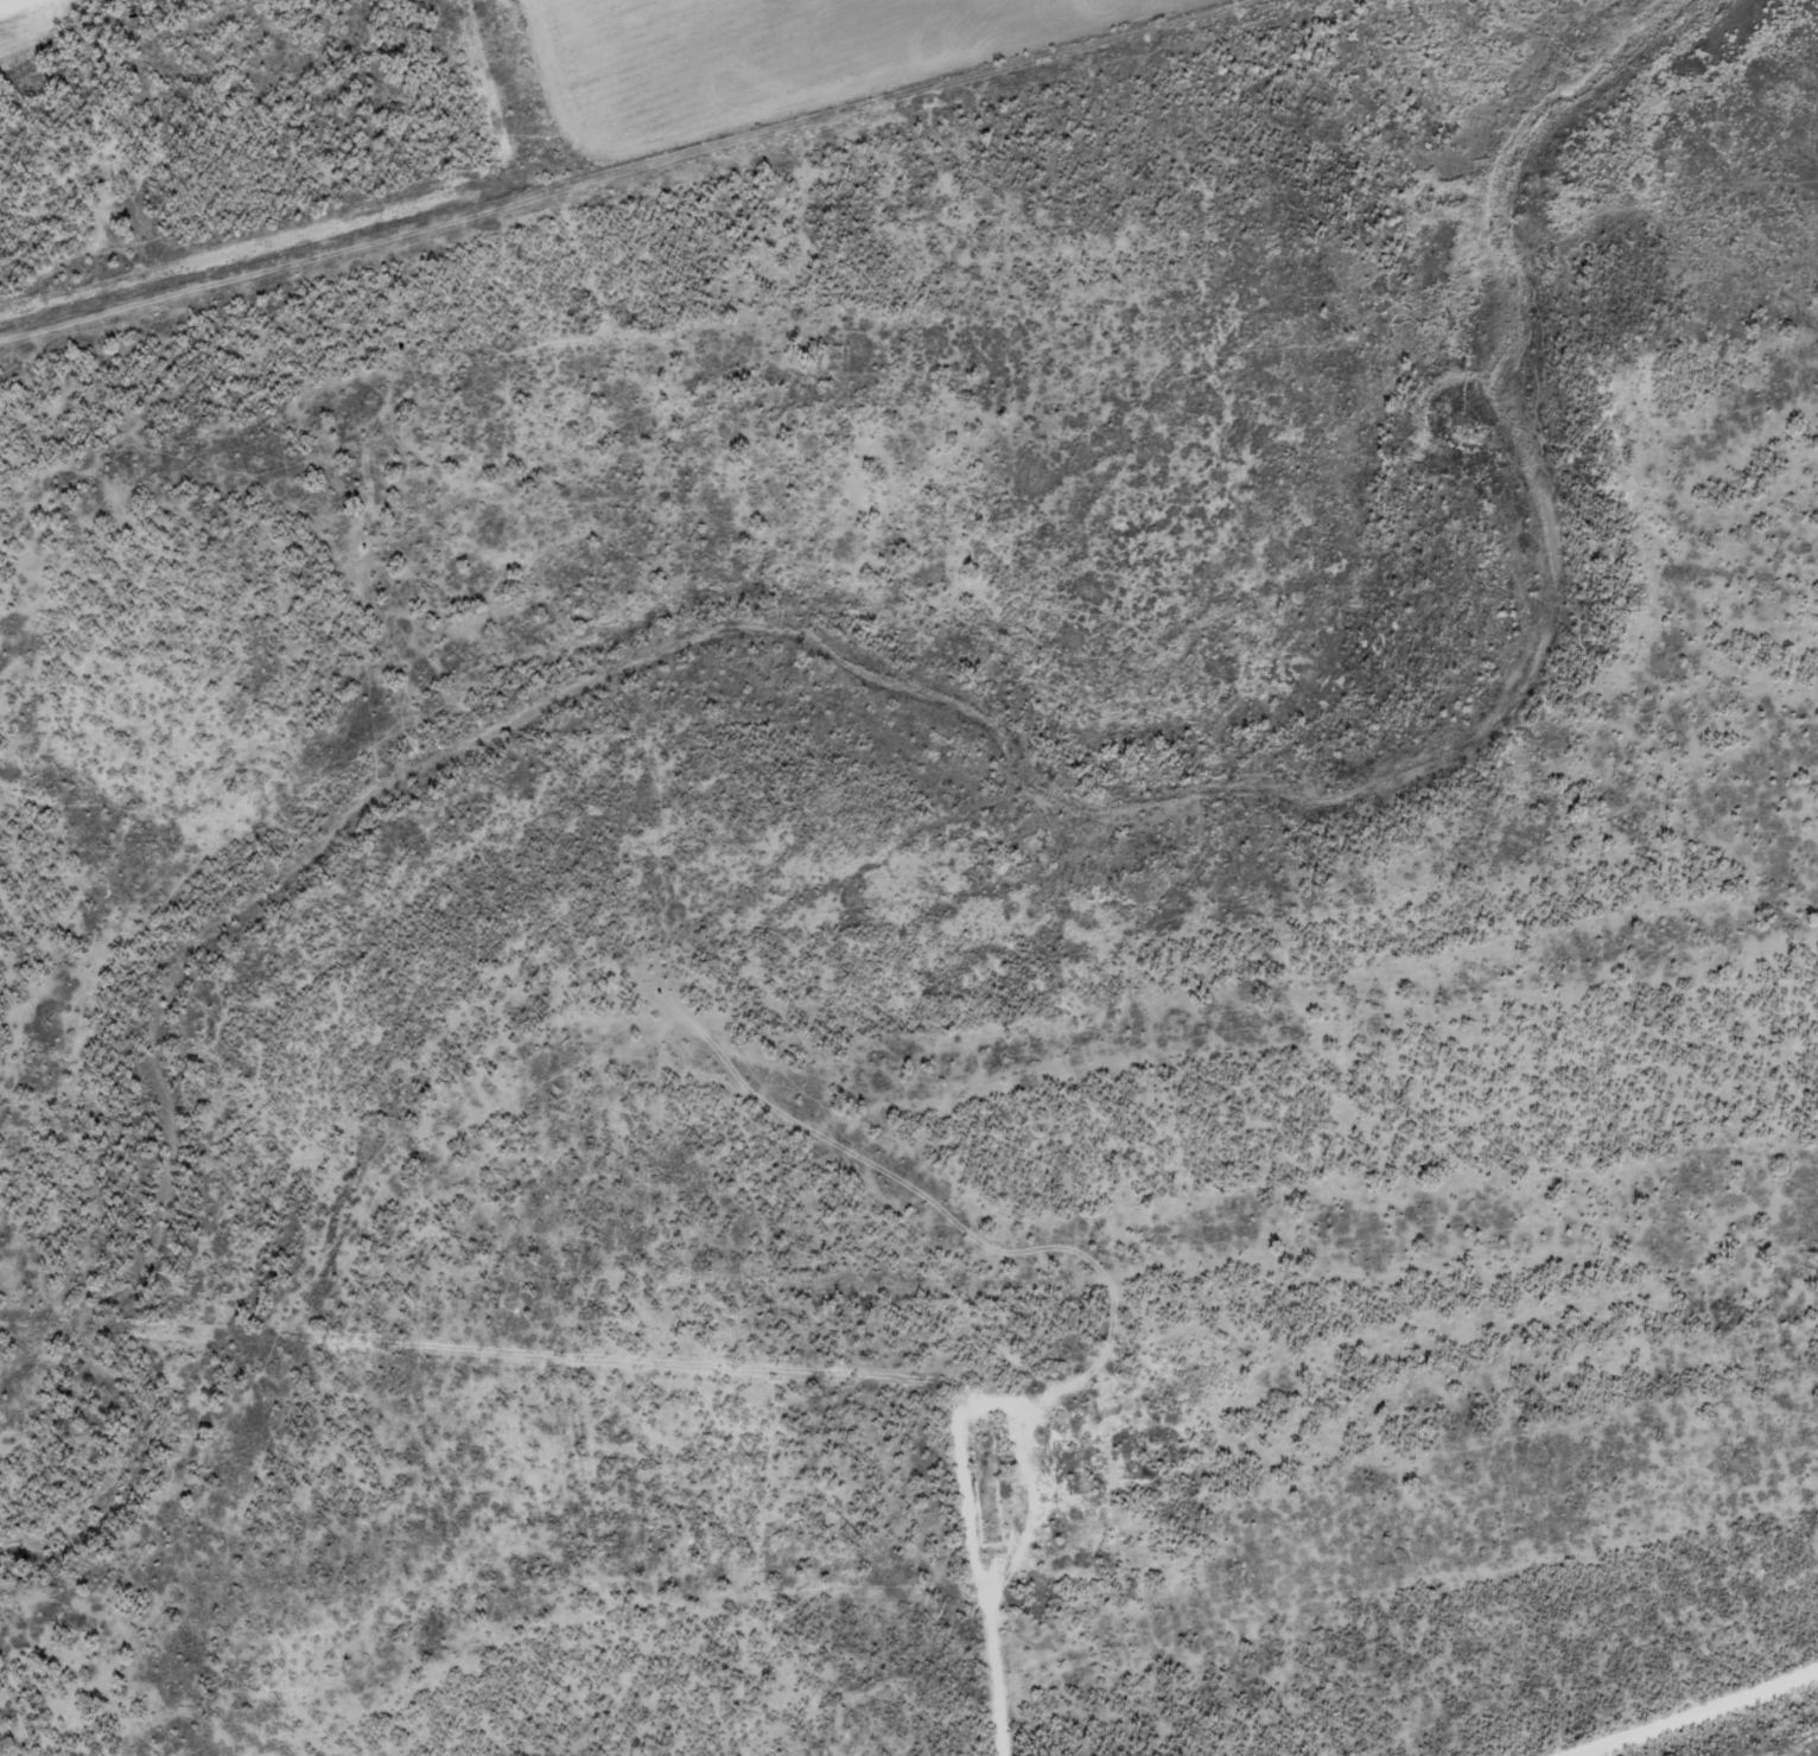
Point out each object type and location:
road: (1690, 1713)

